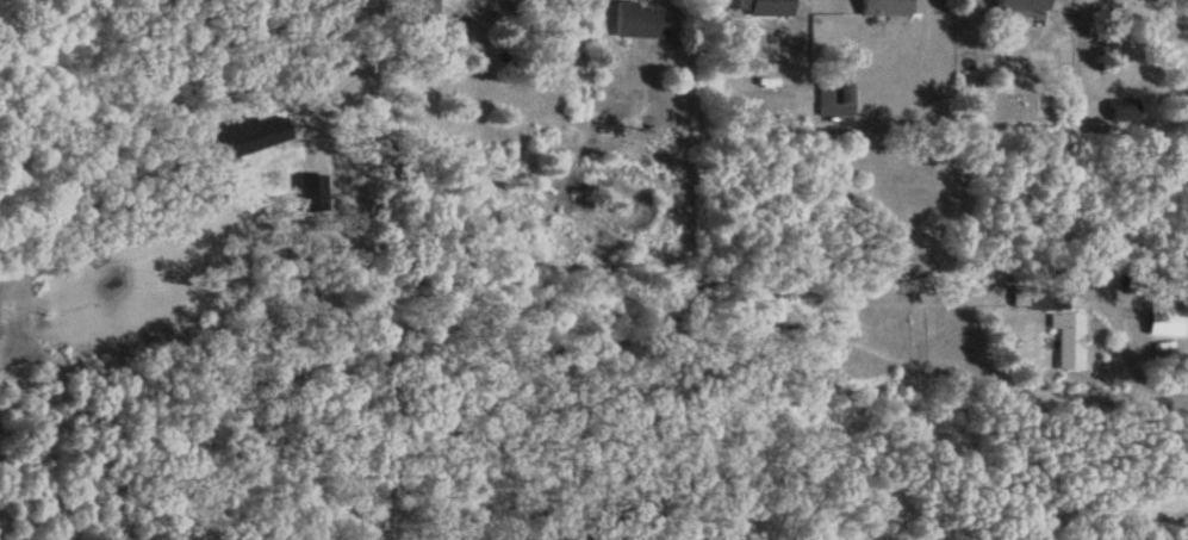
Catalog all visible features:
building: (1020, 5)
building: (885, 6)
building: (755, 7)
building: (422, 15)
building: (637, 20)
road: (366, 69)
building: (834, 98)
building: (1124, 113)
building: (1163, 322)
building: (1059, 324)
road: (1126, 364)

